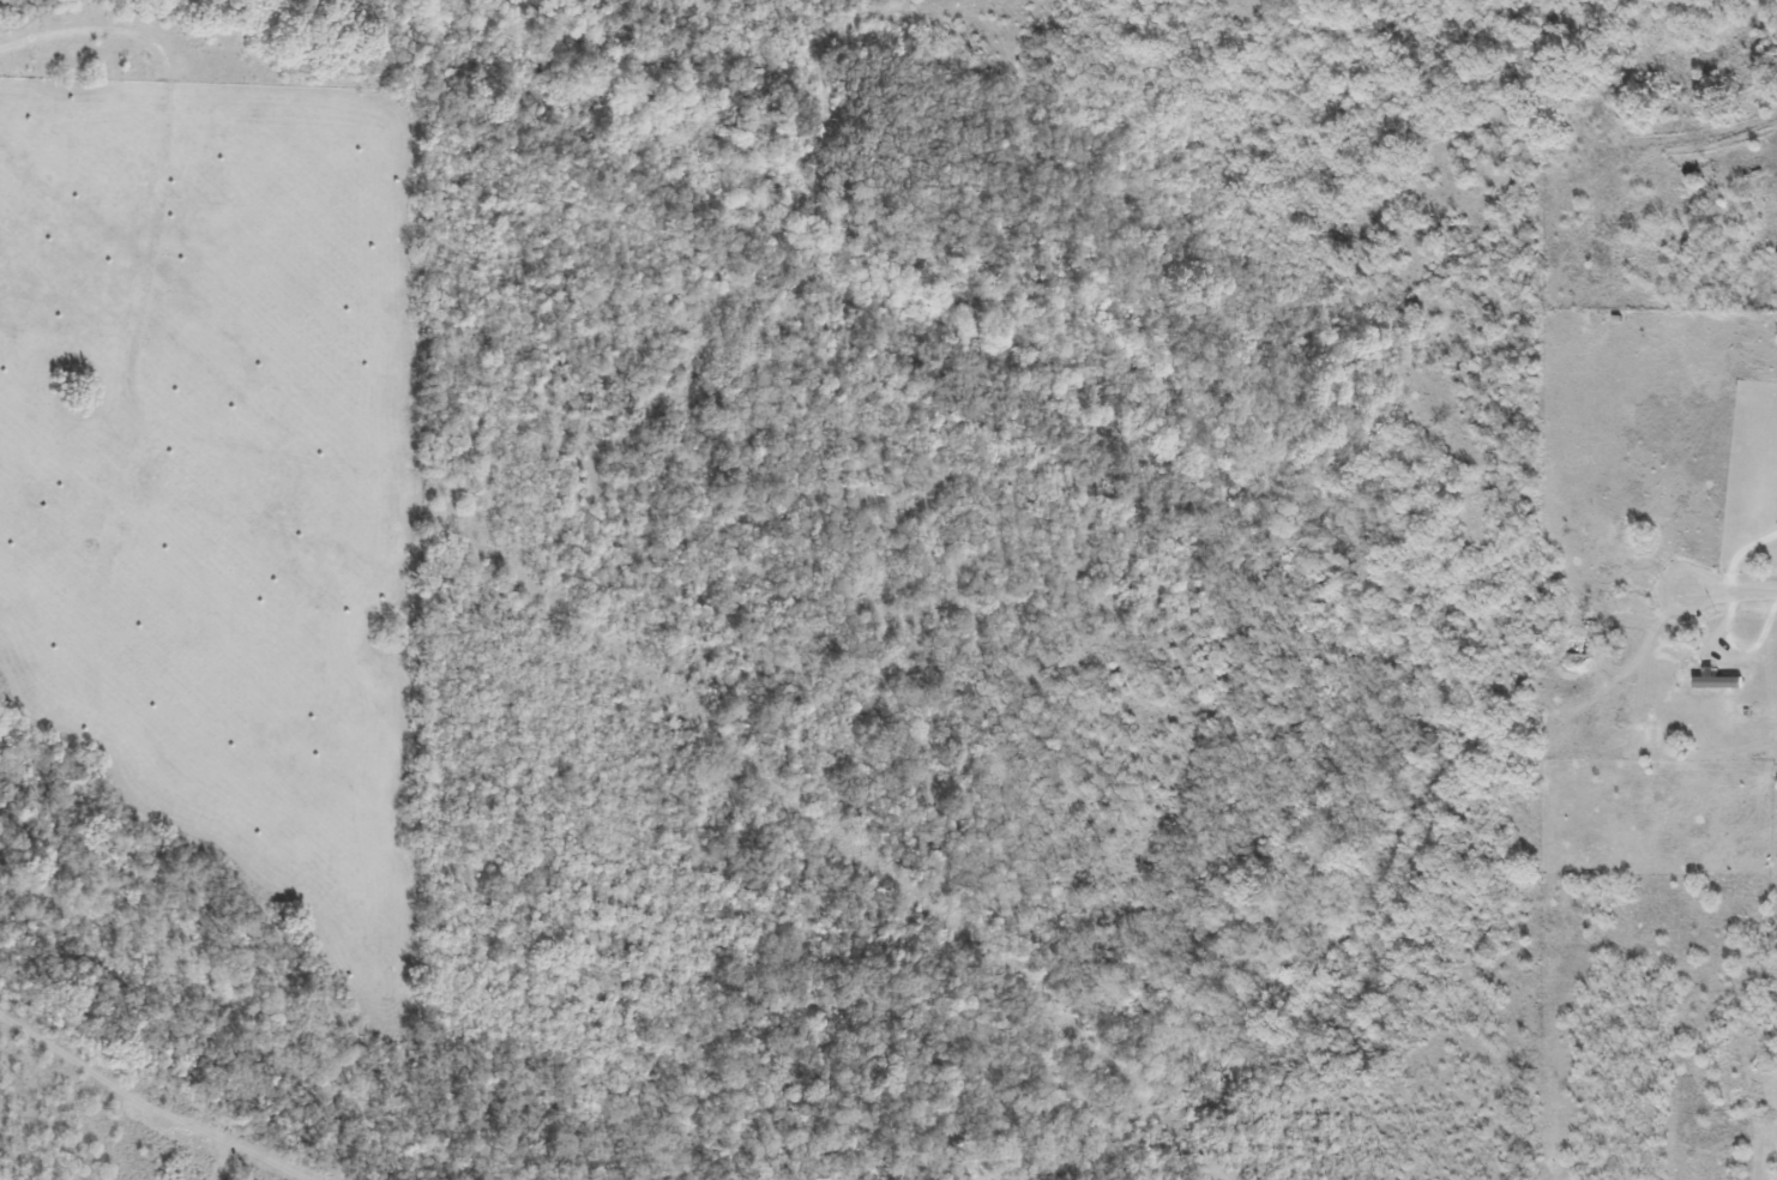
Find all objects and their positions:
road: (1729, 591)

